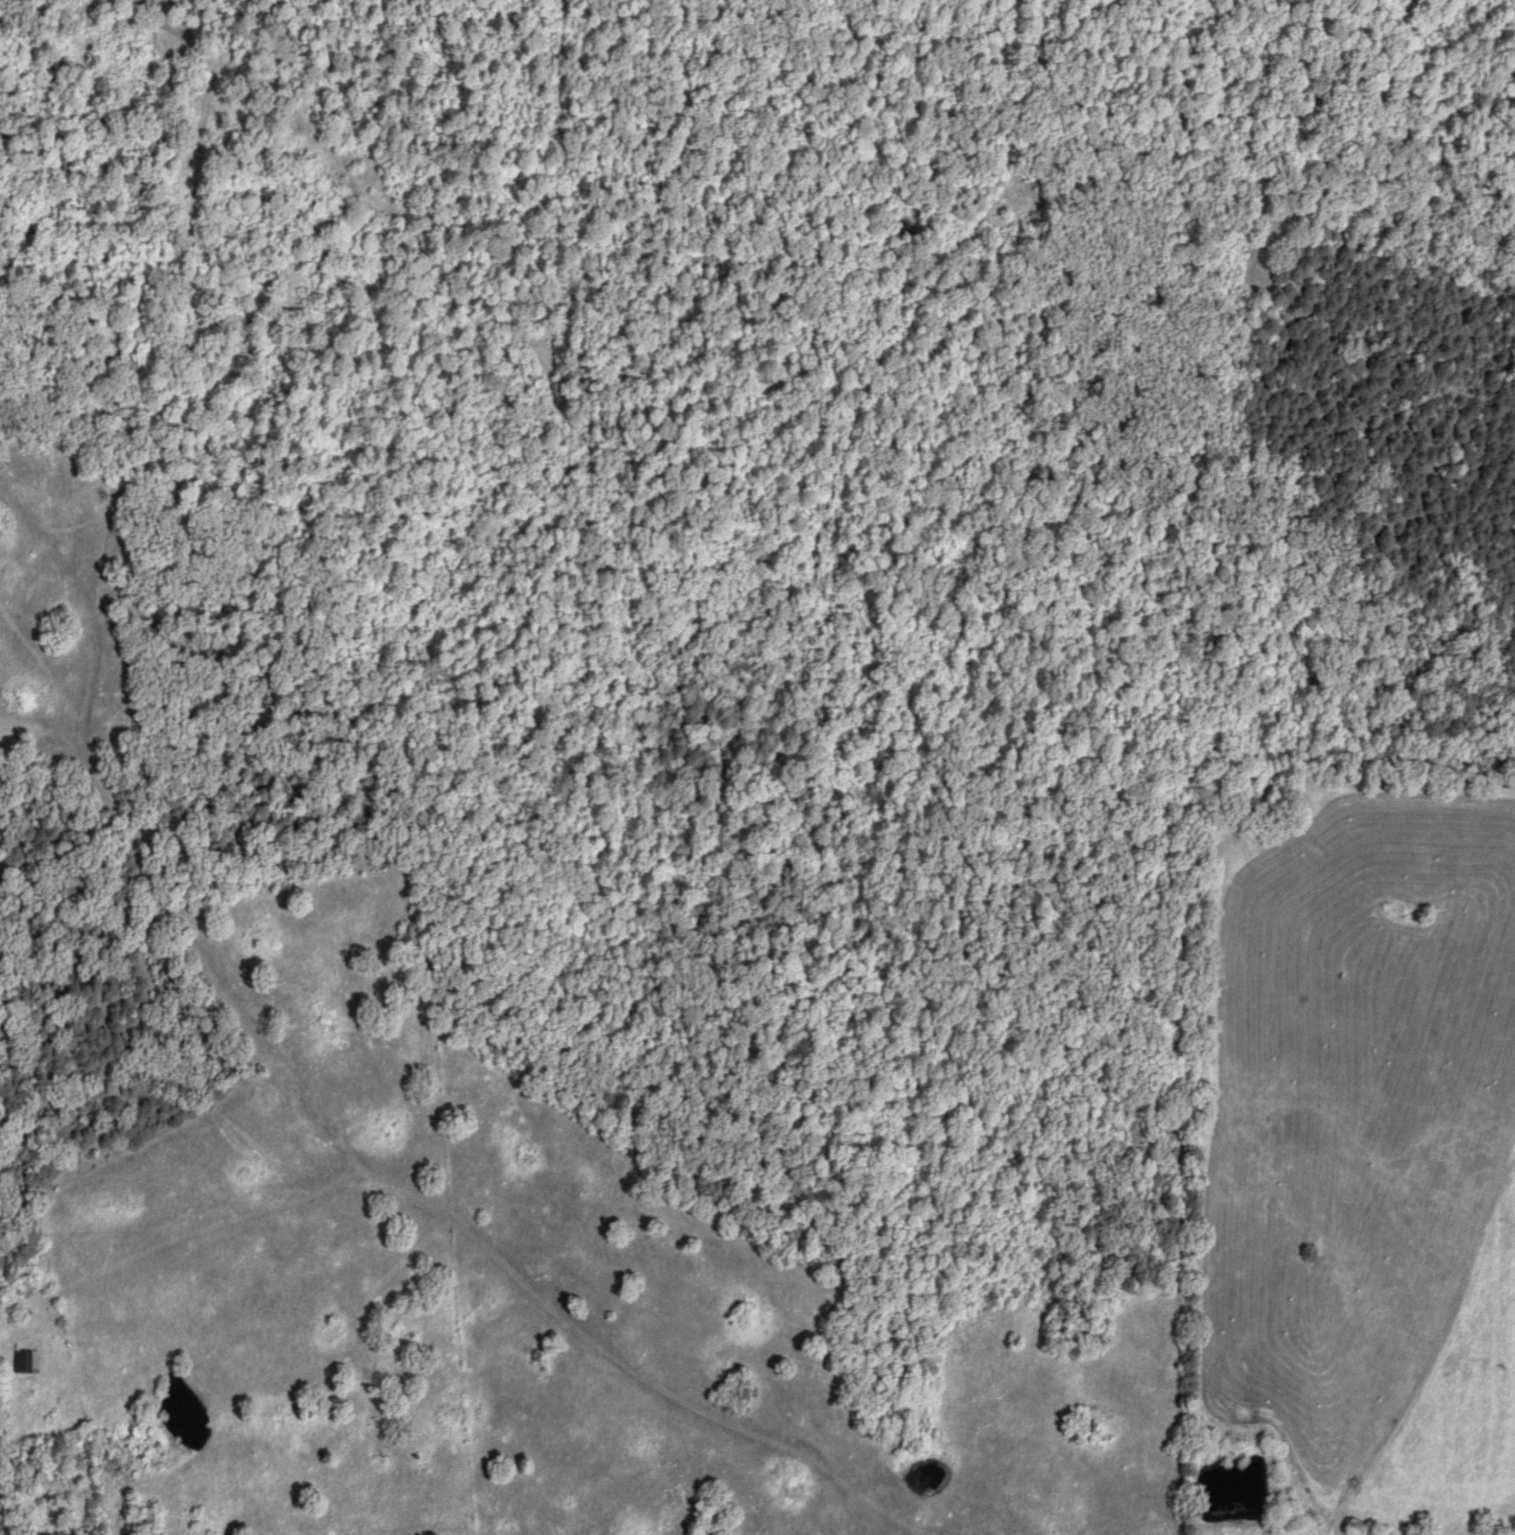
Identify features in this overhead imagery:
building: (28, 1363)

